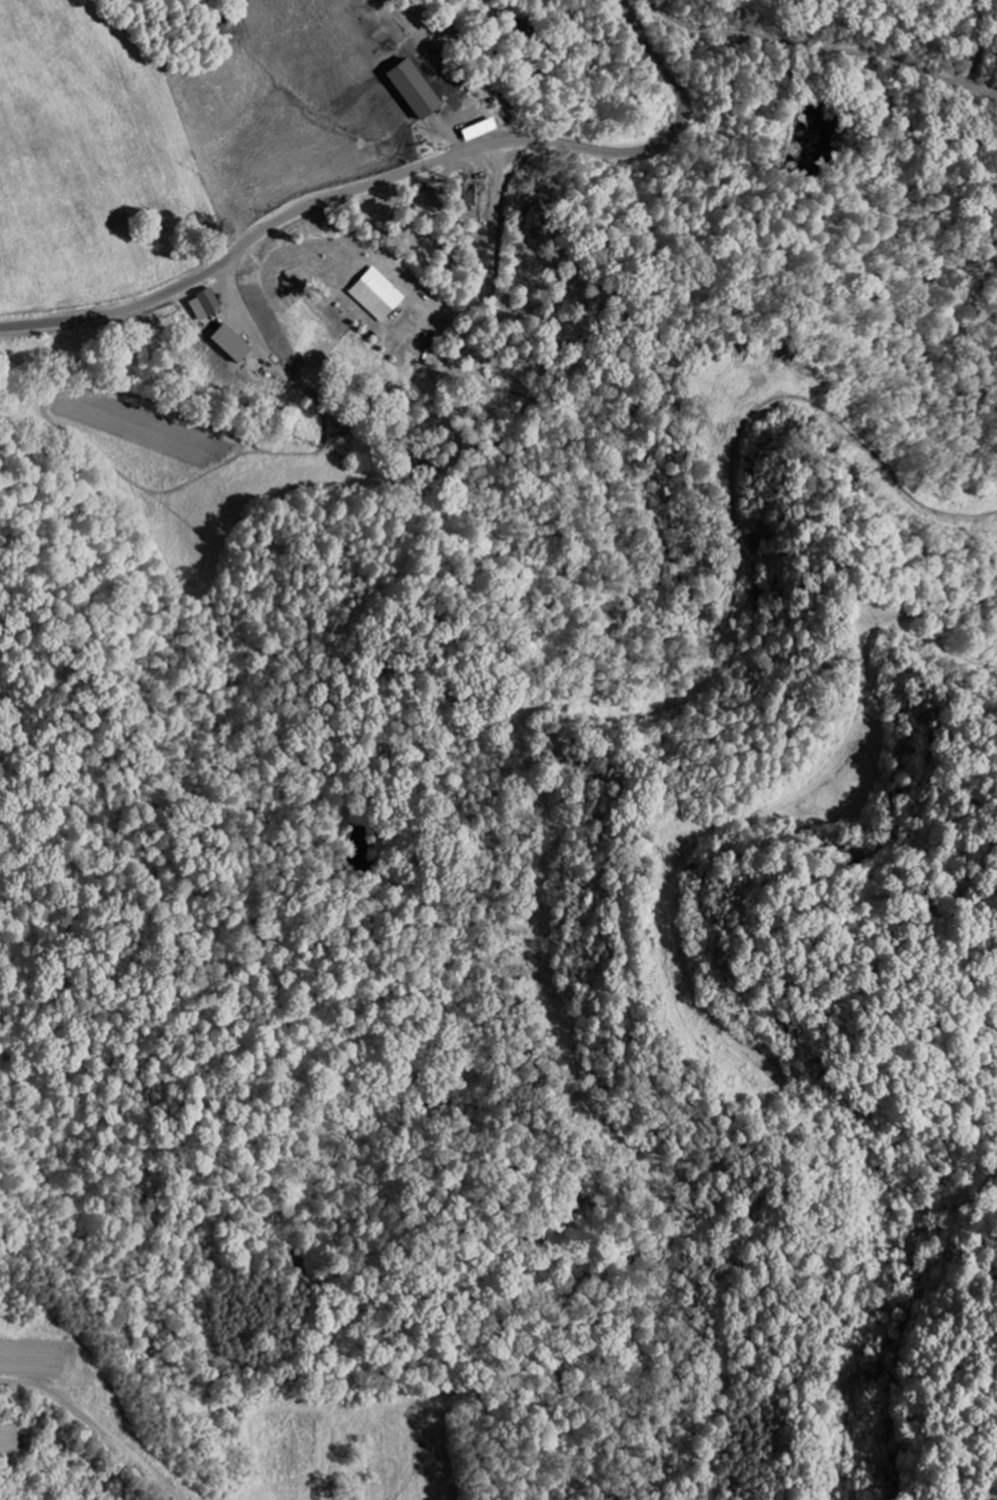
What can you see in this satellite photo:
building: (406, 88)
road: (401, 175)
building: (374, 294)
building: (200, 304)
building: (223, 343)
road: (133, 1393)

